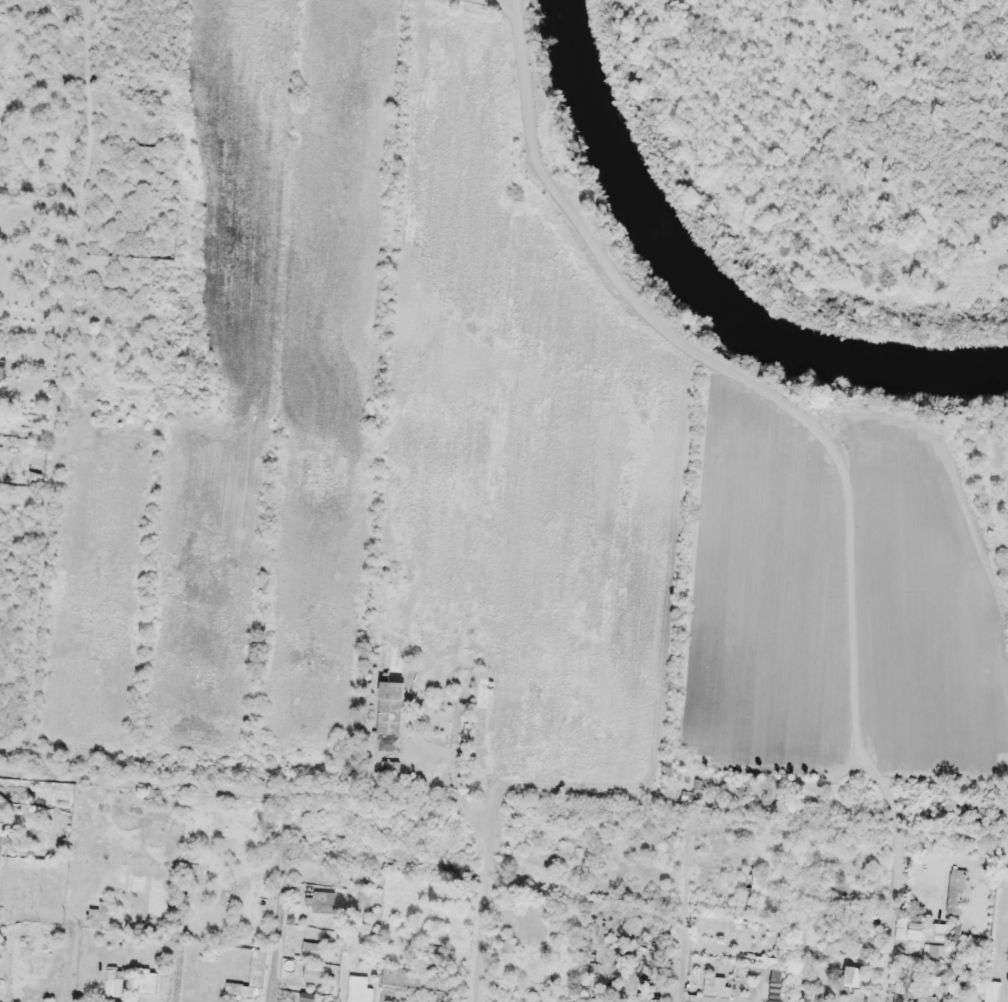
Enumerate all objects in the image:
road: (497, 5)
road: (511, 5)
road: (85, 156)
river: (710, 284)
road: (720, 373)
road: (941, 471)
road: (51, 523)
road: (19, 746)
building: (177, 988)

